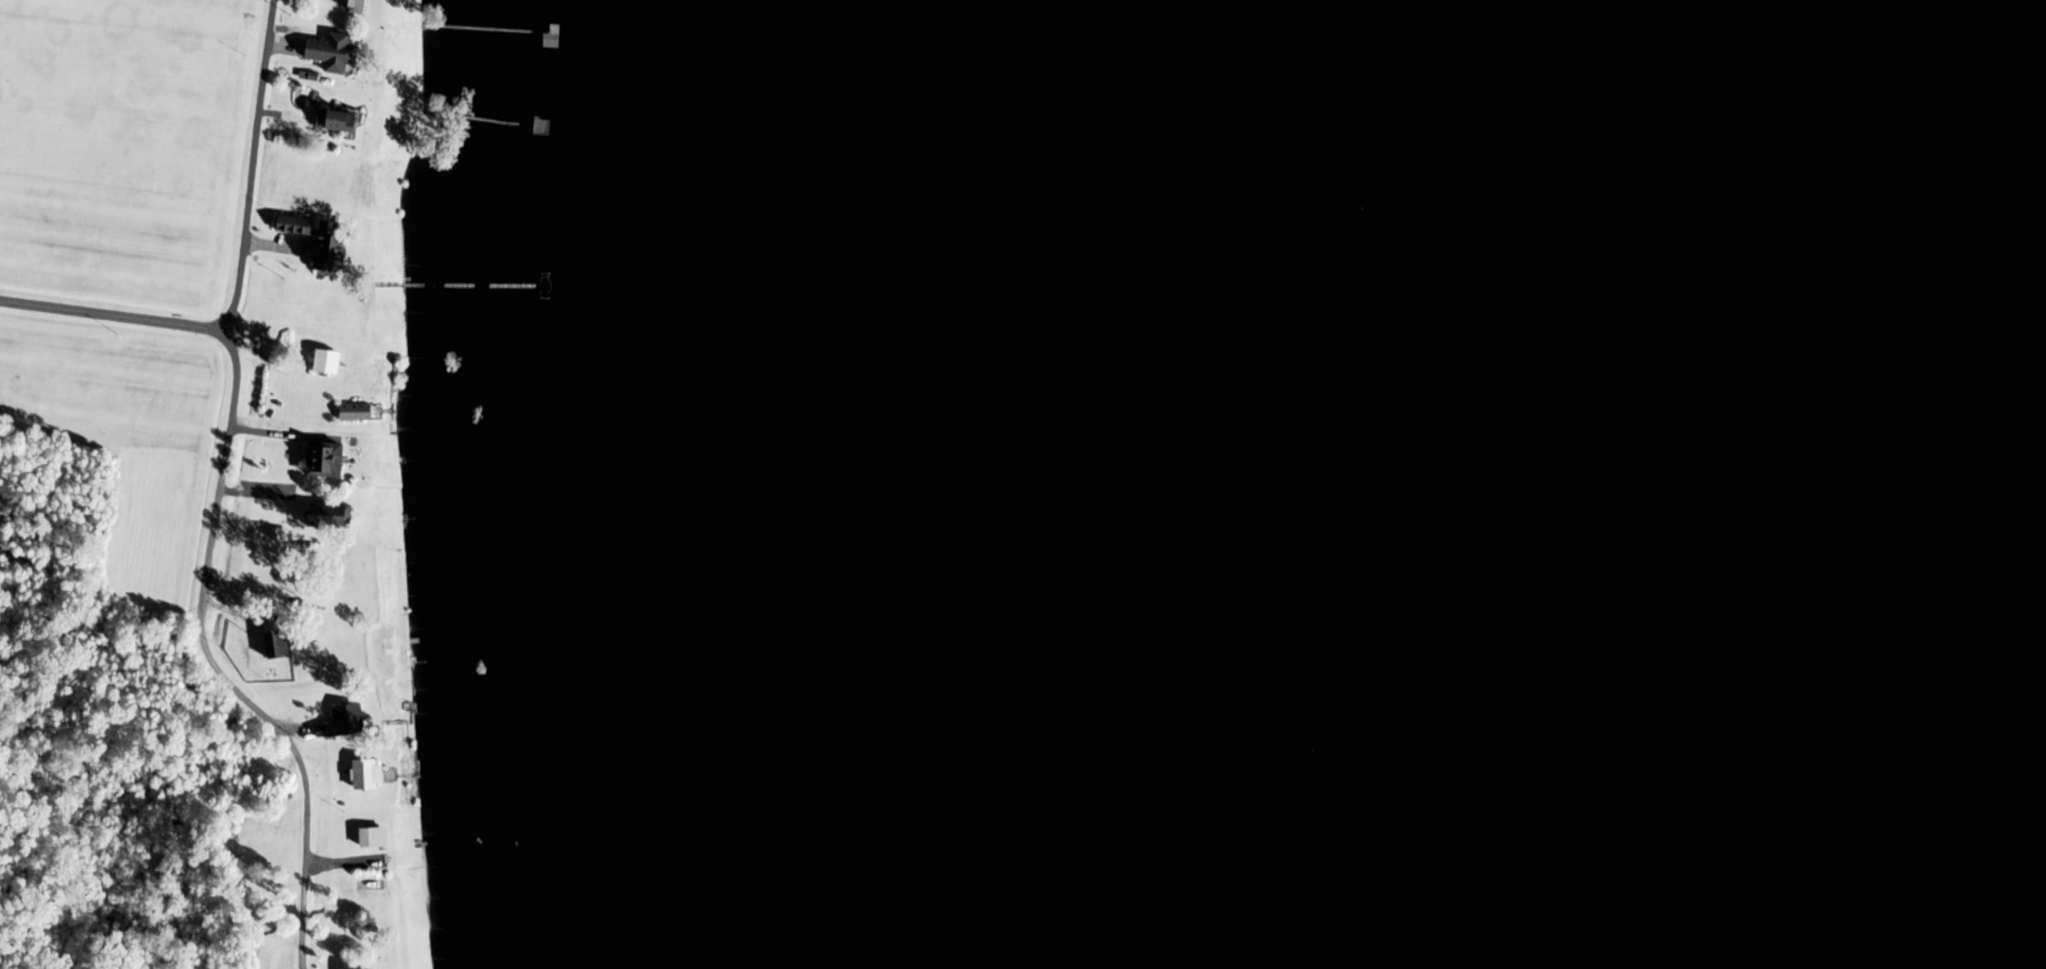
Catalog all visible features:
building: (349, 5)
building: (330, 53)
building: (333, 121)
road: (251, 166)
building: (292, 223)
building: (325, 243)
building: (324, 361)
building: (352, 411)
building: (322, 458)
building: (326, 514)
road: (208, 553)
building: (273, 643)
building: (340, 721)
building: (363, 774)
building: (370, 836)

